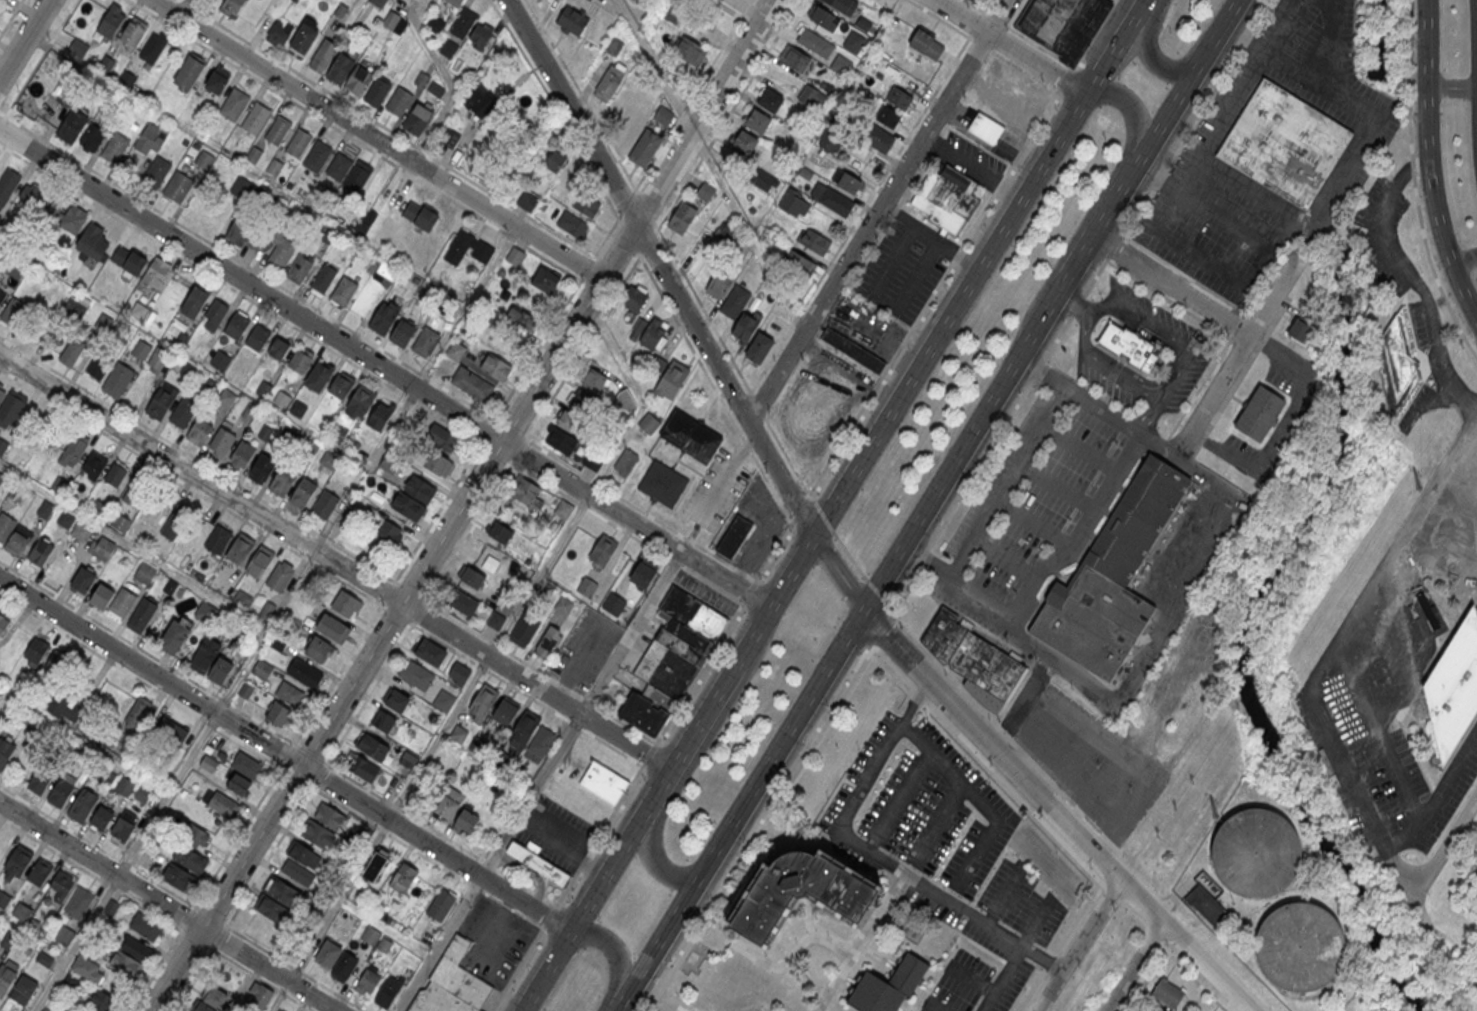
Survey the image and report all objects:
building: (558, 0)
building: (974, 1)
building: (455, 2)
building: (843, 5)
road: (190, 6)
road: (206, 7)
building: (231, 7)
road: (186, 9)
building: (675, 15)
building: (823, 18)
building: (572, 20)
building: (112, 21)
building: (395, 22)
building: (463, 22)
building: (435, 24)
building: (863, 24)
building: (1064, 24)
road: (1011, 28)
road: (1240, 29)
road: (1220, 31)
building: (279, 32)
building: (132, 34)
building: (479, 37)
road: (23, 38)
road: (1328, 40)
river: (1380, 41)
building: (302, 42)
building: (814, 42)
building: (854, 42)
building: (927, 44)
road: (1112, 45)
road: (1007, 46)
building: (154, 47)
building: (449, 48)
building: (690, 50)
road: (1151, 52)
building: (323, 55)
road: (41, 58)
building: (794, 60)
road: (655, 65)
building: (840, 65)
building: (340, 68)
building: (189, 72)
building: (358, 80)
building: (217, 82)
building: (609, 83)
road: (1452, 88)
road: (453, 90)
building: (377, 92)
building: (650, 97)
building: (810, 97)
building: (900, 98)
building: (769, 99)
building: (479, 100)
building: (399, 101)
building: (235, 105)
road: (587, 108)
river: (1379, 110)
road: (921, 114)
building: (890, 117)
building: (256, 118)
building: (417, 120)
building: (757, 120)
building: (71, 125)
building: (985, 127)
road: (566, 128)
building: (277, 130)
road: (1426, 133)
road: (397, 135)
road: (376, 138)
building: (92, 139)
building: (640, 139)
building: (880, 139)
building: (744, 140)
building: (297, 143)
building: (1284, 143)
building: (115, 147)
road: (366, 147)
building: (154, 152)
parking lot: (1273, 152)
building: (254, 155)
building: (317, 156)
building: (203, 159)
road: (1202, 159)
building: (553, 161)
road: (1352, 162)
road: (1135, 166)
building: (275, 167)
building: (339, 167)
road: (970, 167)
road: (1152, 171)
building: (764, 180)
building: (848, 181)
road: (1415, 183)
building: (8, 184)
building: (177, 186)
building: (705, 191)
building: (30, 194)
building: (946, 196)
building: (527, 200)
building: (836, 201)
road: (1097, 202)
building: (795, 204)
building: (585, 205)
building: (51, 211)
road: (877, 211)
building: (420, 214)
road: (1218, 215)
building: (0, 217)
building: (682, 217)
building: (73, 221)
building: (573, 225)
building: (728, 229)
building: (813, 240)
building: (92, 241)
building: (468, 248)
road: (1272, 249)
building: (515, 255)
building: (280, 256)
road: (1464, 260)
building: (128, 261)
building: (799, 261)
road: (658, 266)
parking lot: (905, 266)
building: (299, 268)
building: (157, 270)
road: (261, 274)
building: (385, 274)
building: (323, 279)
road: (219, 280)
building: (545, 280)
road: (940, 282)
building: (720, 284)
road: (1170, 286)
building: (343, 291)
road: (1463, 292)
building: (2, 297)
building: (634, 298)
building: (194, 301)
building: (735, 301)
road: (1074, 303)
road: (1097, 306)
building: (141, 307)
road: (948, 311)
building: (13, 313)
building: (215, 313)
building: (383, 318)
building: (522, 320)
building: (104, 322)
building: (237, 325)
building: (745, 327)
road: (1084, 330)
building: (1299, 331)
building: (402, 332)
building: (653, 334)
building: (257, 337)
building: (425, 341)
road: (343, 344)
building: (1127, 344)
building: (759, 348)
building: (276, 349)
building: (852, 350)
building: (141, 351)
building: (455, 351)
road: (1239, 351)
building: (71, 352)
building: (157, 361)
building: (220, 361)
building: (300, 361)
building: (1396, 364)
building: (98, 365)
building: (496, 367)
road: (1169, 367)
road: (1176, 373)
building: (319, 375)
building: (594, 379)
building: (671, 379)
building: (118, 381)
building: (472, 383)
building: (342, 384)
building: (361, 397)
building: (226, 398)
building: (581, 399)
building: (281, 400)
building: (626, 401)
building: (159, 403)
road: (1099, 404)
building: (9, 409)
road: (1148, 412)
building: (182, 413)
building: (1259, 414)
building: (380, 415)
road: (1284, 422)
building: (649, 423)
building: (199, 431)
building: (691, 437)
building: (445, 438)
building: (222, 440)
road: (967, 443)
building: (73, 450)
building: (242, 453)
building: (593, 460)
building: (435, 462)
building: (624, 462)
building: (263, 466)
building: (93, 467)
building: (115, 475)
road: (726, 475)
building: (283, 478)
road: (1008, 480)
building: (662, 483)
building: (59, 485)
building: (419, 488)
building: (304, 489)
parking lot: (716, 489)
power tower: (1417, 489)
building: (136, 491)
building: (524, 493)
building: (325, 503)
road: (462, 505)
building: (408, 506)
building: (99, 509)
building: (45, 510)
building: (563, 510)
building: (65, 520)
building: (120, 522)
building: (175, 523)
building: (6, 527)
building: (81, 531)
building: (499, 532)
building: (389, 533)
building: (734, 536)
building: (218, 540)
building: (18, 543)
building: (101, 547)
building: (240, 551)
building: (602, 551)
building: (41, 552)
road: (1393, 552)
building: (259, 562)
road: (335, 563)
building: (145, 573)
road: (838, 574)
building: (643, 576)
building: (1111, 576)
building: (280, 577)
building: (472, 577)
road: (71, 579)
building: (82, 581)
road: (1041, 581)
road: (728, 582)
river: (1259, 585)
building: (587, 588)
building: (101, 596)
road: (1409, 596)
building: (462, 603)
building: (122, 604)
building: (346, 604)
building: (563, 606)
building: (206, 612)
building: (693, 613)
building: (142, 616)
building: (495, 621)
building: (3, 623)
building: (332, 627)
building: (525, 629)
road: (1166, 631)
building: (690, 634)
building: (175, 636)
road: (1383, 642)
building: (549, 643)
building: (683, 646)
building: (318, 649)
building: (35, 651)
road: (742, 651)
building: (430, 653)
building: (972, 658)
building: (210, 661)
building: (56, 664)
building: (664, 669)
building: (262, 671)
building: (305, 673)
road: (899, 673)
building: (459, 674)
building: (415, 675)
road: (1405, 681)
building: (1454, 687)
building: (244, 692)
building: (289, 694)
building: (659, 697)
building: (396, 699)
building: (444, 700)
building: (483, 703)
building: (61, 709)
building: (645, 712)
building: (278, 713)
building: (505, 713)
building: (137, 714)
parking lot: (1336, 714)
building: (384, 720)
building: (523, 730)
road: (1380, 730)
building: (171, 732)
building: (459, 735)
road: (437, 739)
building: (540, 744)
road: (782, 744)
building: (372, 746)
building: (5, 751)
road: (283, 756)
parking lot: (1085, 756)
road: (1346, 762)
building: (209, 763)
road: (690, 763)
building: (246, 764)
building: (364, 768)
building: (608, 774)
building: (39, 780)
road: (541, 781)
building: (239, 784)
road: (1444, 785)
building: (124, 787)
building: (59, 792)
building: (142, 794)
road: (899, 798)
parking lot: (1447, 799)
road: (979, 800)
building: (221, 802)
building: (83, 805)
building: (449, 805)
road: (1056, 813)
building: (102, 816)
power tower: (1215, 818)
building: (466, 822)
building: (324, 826)
building: (123, 829)
parking lot: (555, 834)
building: (197, 835)
road: (565, 840)
road: (1400, 841)
road: (1443, 848)
road: (619, 850)
road: (877, 852)
storage tank: (1255, 852)
building: (304, 854)
parking lot: (944, 854)
building: (1252, 854)
building: (189, 859)
road: (1399, 863)
building: (17, 864)
building: (376, 865)
building: (537, 865)
building: (297, 872)
building: (40, 873)
building: (403, 877)
building: (178, 878)
building: (61, 888)
building: (800, 895)
building: (276, 900)
building: (441, 903)
building: (79, 904)
building: (1206, 905)
road: (167, 907)
building: (111, 909)
building: (146, 928)
road: (497, 929)
building: (65, 937)
building: (376, 939)
road: (659, 942)
road: (76, 943)
road: (1079, 945)
storage tank: (1300, 947)
building: (1301, 948)
road: (615, 955)
building: (130, 958)
building: (45, 959)
building: (336, 959)
road: (1133, 966)
road: (543, 971)
building: (84, 972)
building: (460, 975)
building: (5, 977)
road: (974, 978)
road: (1006, 979)
building: (367, 982)
building: (889, 986)
building: (23, 990)
building: (388, 992)
building: (1168, 993)
building: (259, 996)
building: (211, 1000)
building: (438, 1000)
building: (101, 1002)
road: (932, 1007)
building: (45, 1010)
building: (278, 1010)

